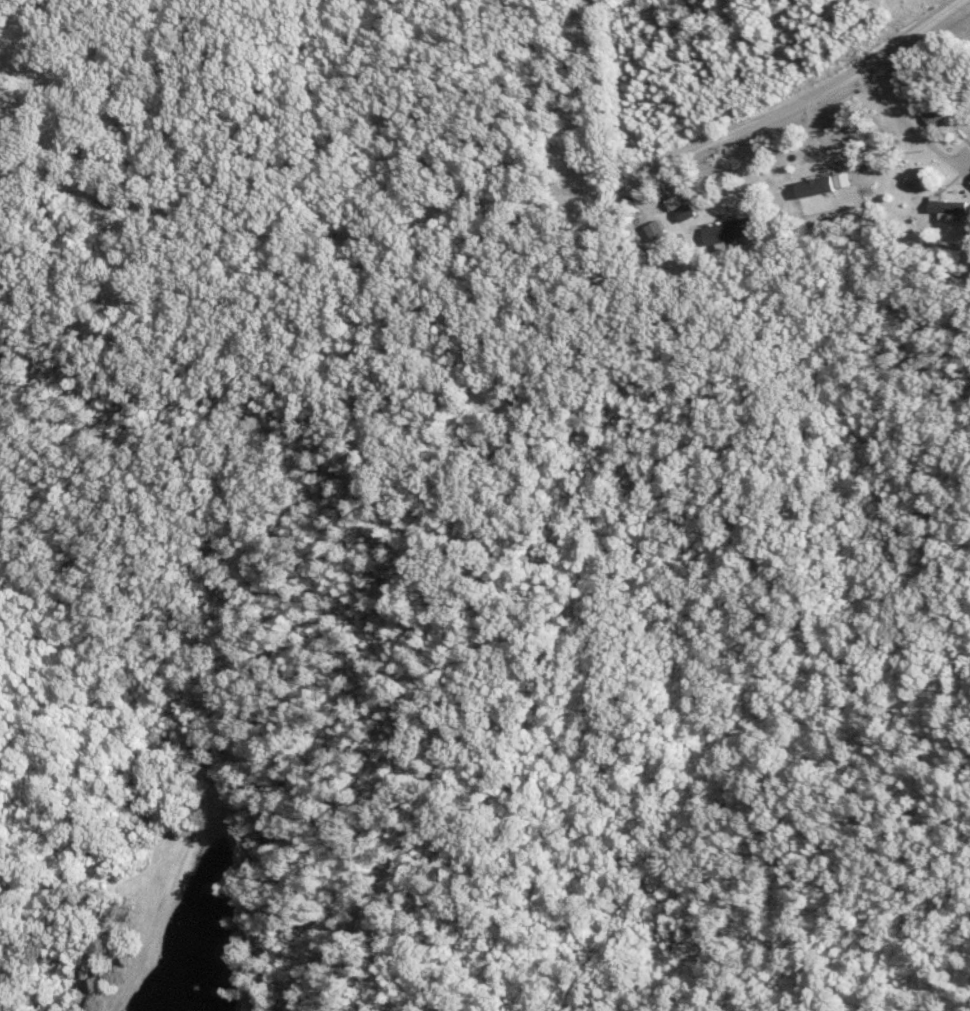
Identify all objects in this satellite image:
road: (921, 133)
building: (846, 182)
building: (818, 189)
building: (950, 208)
building: (684, 210)
road: (486, 214)
building: (660, 232)
building: (731, 233)
road: (124, 984)

